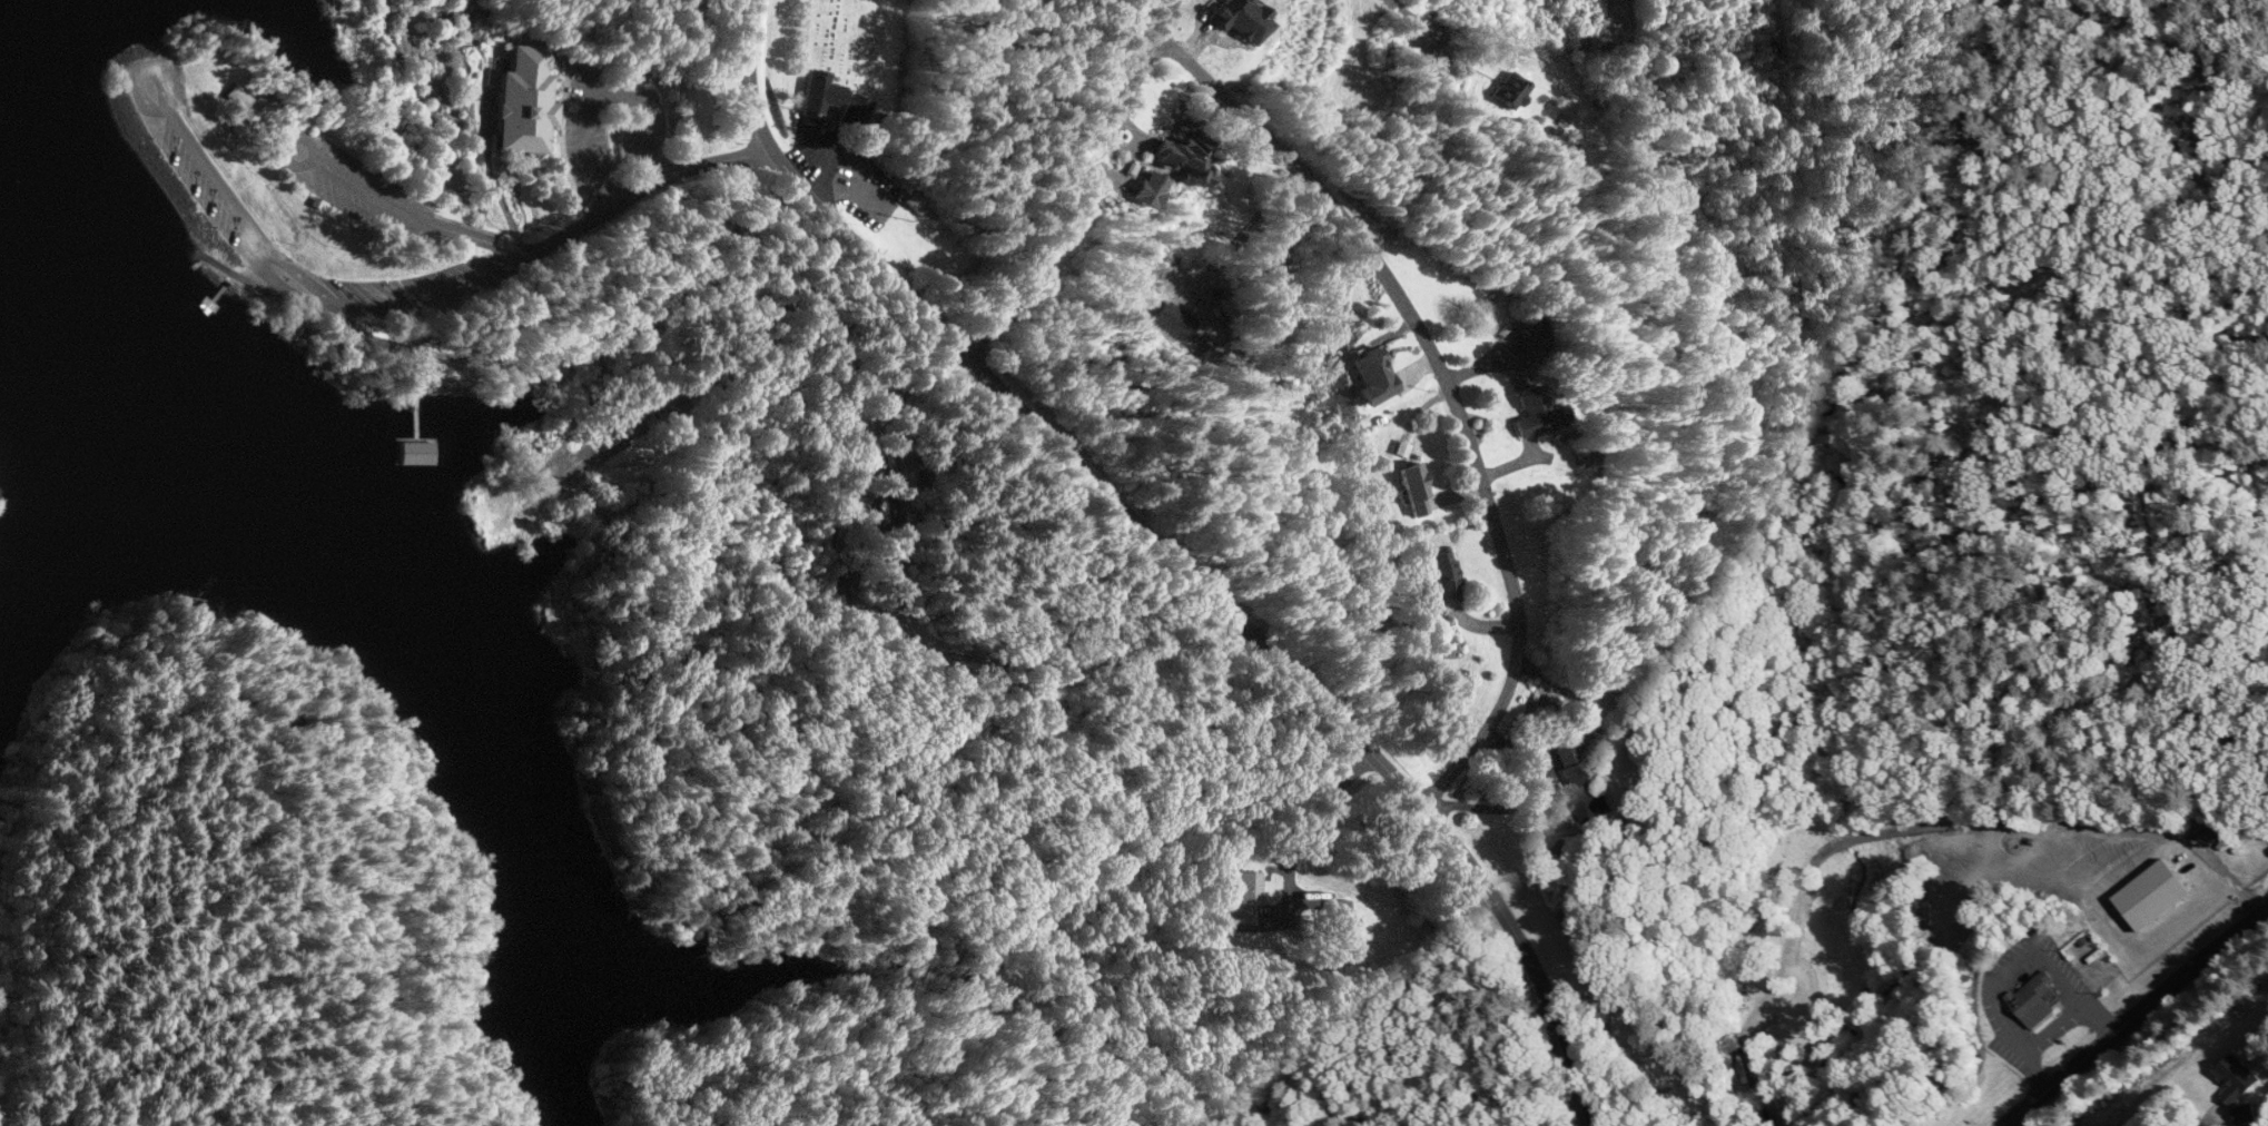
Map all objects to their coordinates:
road: (1411, 22)
road: (1162, 24)
road: (747, 73)
road: (600, 88)
building: (1513, 90)
building: (810, 95)
building: (519, 101)
building: (247, 103)
parking lot: (611, 126)
road: (196, 147)
building: (1174, 154)
road: (813, 167)
road: (678, 168)
road: (374, 194)
road: (563, 234)
road: (846, 236)
road: (1358, 236)
road: (205, 254)
road: (258, 281)
road: (413, 303)
building: (1528, 409)
building: (407, 451)
building: (1417, 488)
road: (896, 565)
building: (1443, 575)
road: (882, 662)
road: (217, 679)
road: (1309, 689)
building: (1572, 780)
road: (2071, 818)
road: (210, 820)
road: (1306, 824)
road: (955, 851)
building: (1248, 897)
road: (827, 919)
building: (1340, 920)
building: (2038, 1000)
road: (2128, 1009)
road: (2051, 1028)
building: (1758, 1068)
road: (933, 1069)
building: (2227, 1077)
road: (686, 1090)

